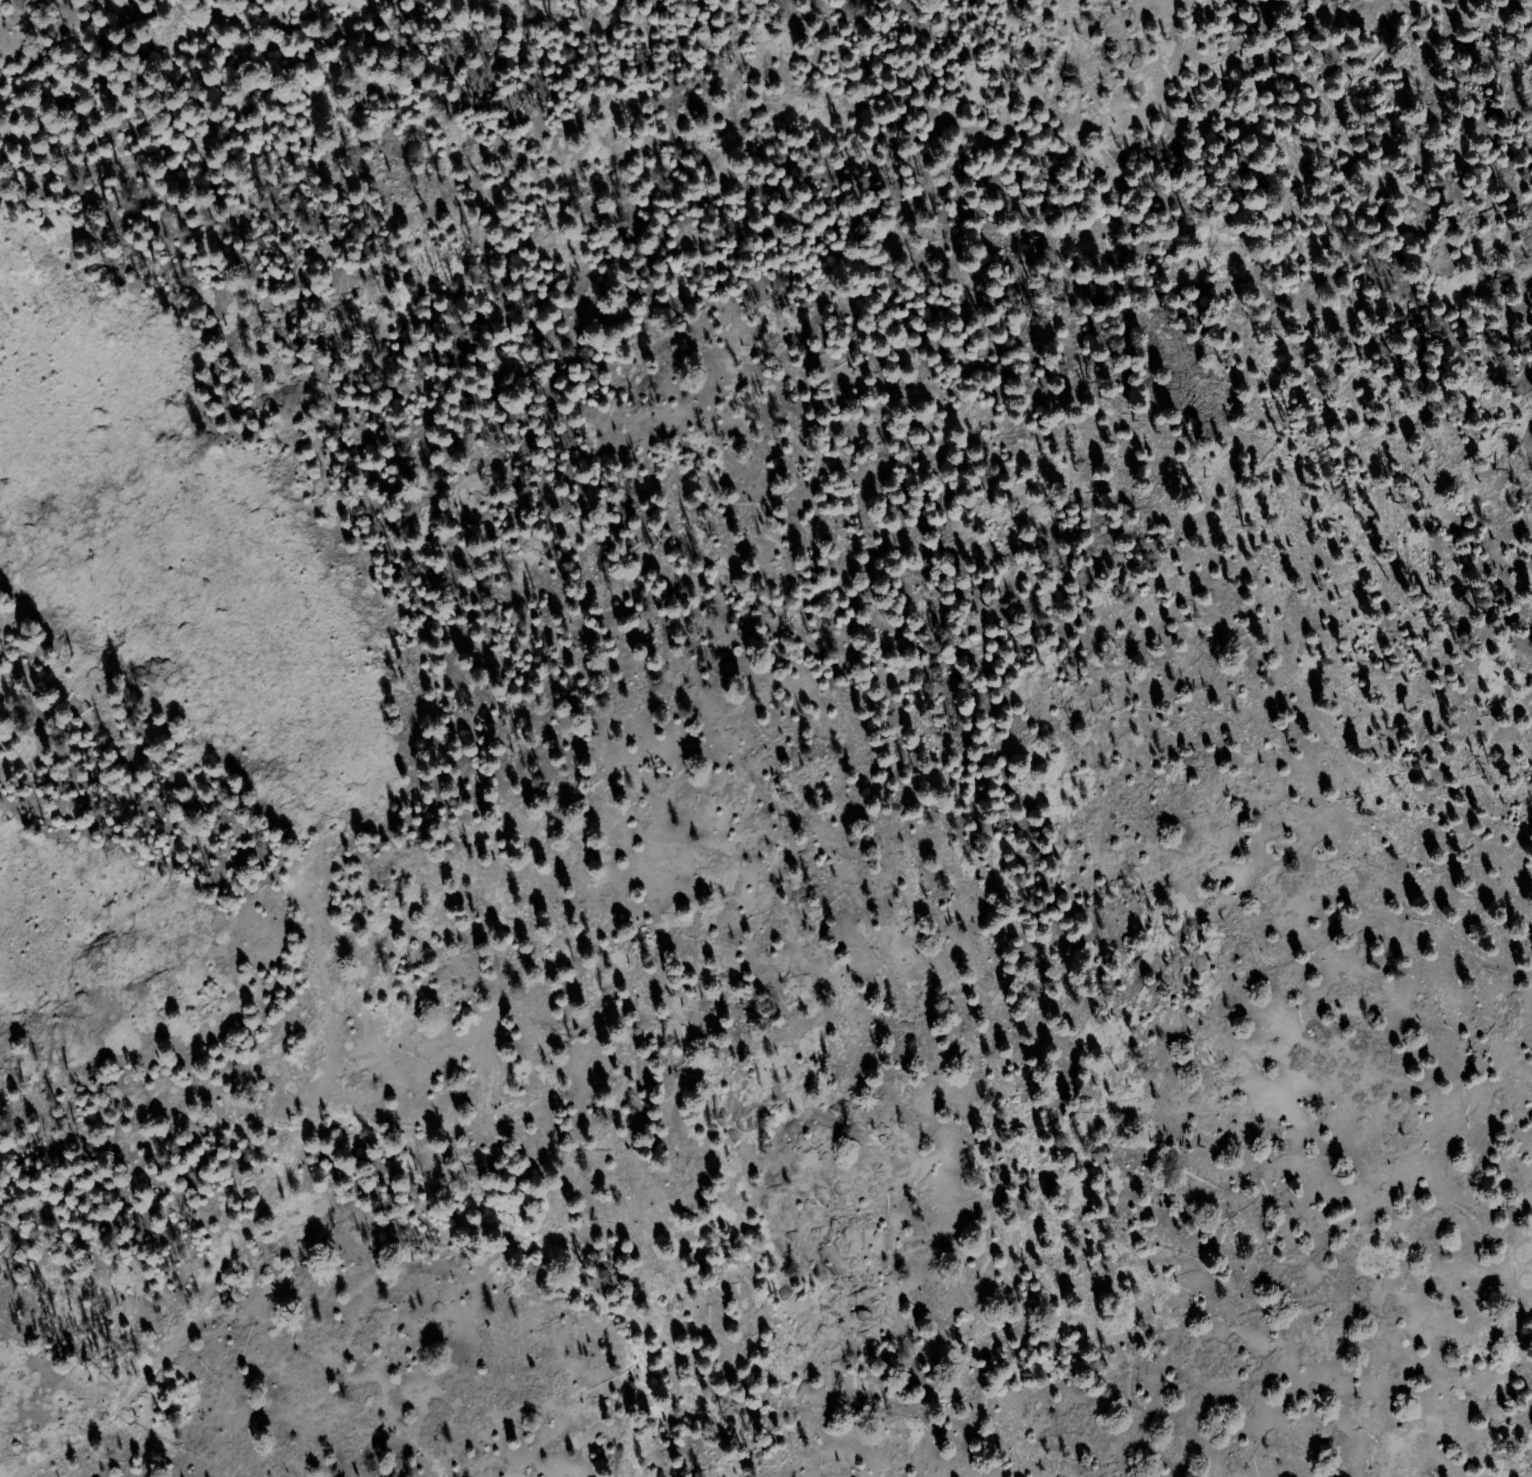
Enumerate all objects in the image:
road: (254, 1223)

